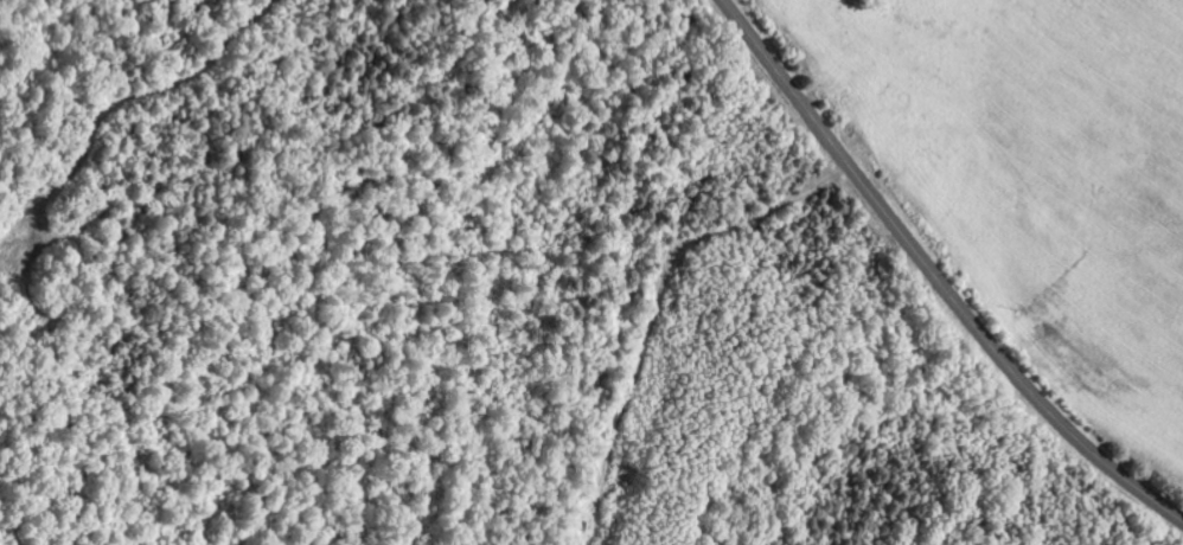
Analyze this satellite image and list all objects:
road: (936, 276)

